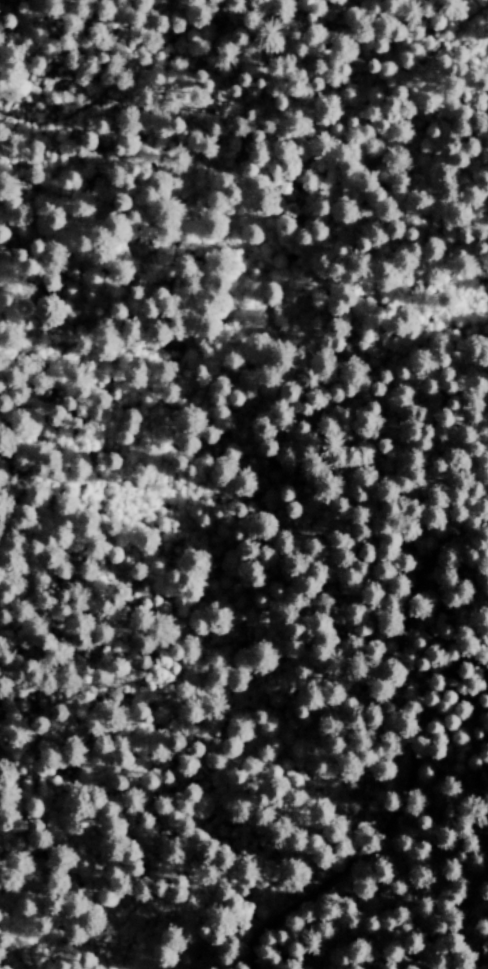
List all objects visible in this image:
road: (408, 756)

